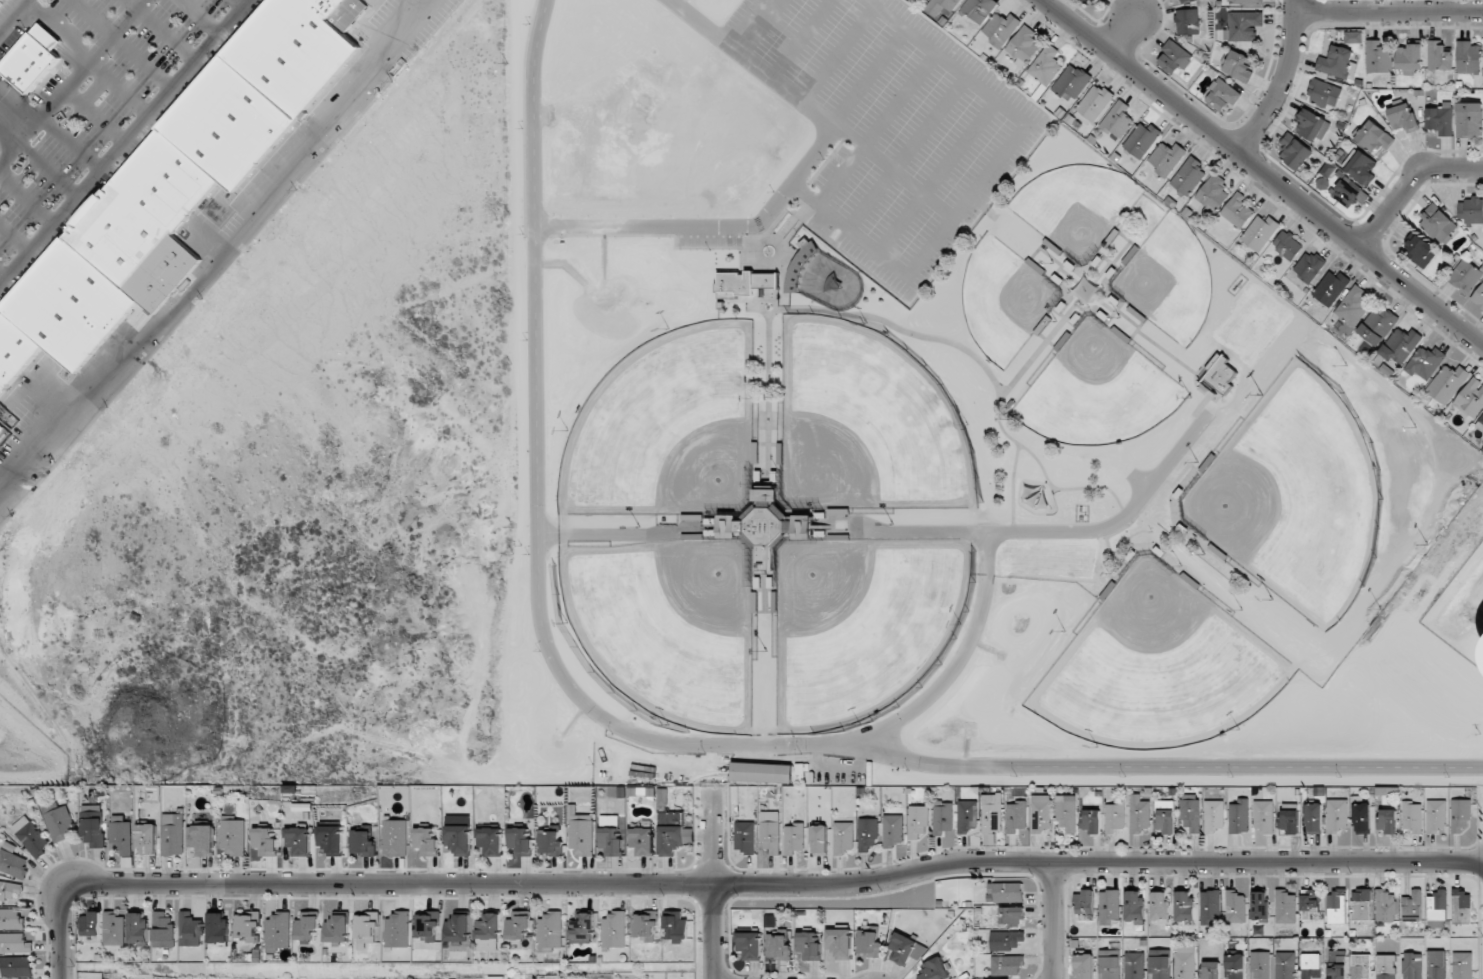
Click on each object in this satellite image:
building: (1179, 0)
building: (1090, 1)
building: (1245, 1)
building: (940, 6)
building: (978, 9)
road: (1389, 11)
road: (12, 14)
building: (1187, 21)
road: (754, 25)
building: (1242, 25)
building: (1000, 28)
road: (1125, 33)
building: (1353, 37)
building: (1022, 45)
building: (1438, 56)
building: (1174, 57)
building: (1377, 57)
building: (1409, 57)
building: (1468, 57)
building: (33, 58)
building: (1336, 62)
building: (1045, 65)
building: (1237, 66)
road: (1282, 81)
building: (1071, 82)
building: (1223, 93)
building: (1323, 93)
building: (1093, 102)
building: (1403, 117)
building: (1440, 117)
building: (1469, 119)
building: (1116, 120)
building: (1311, 125)
building: (1374, 137)
building: (1141, 139)
road: (126, 145)
building: (1295, 151)
building: (1166, 158)
building: (1361, 167)
road: (1264, 171)
building: (181, 174)
building: (1188, 176)
road: (983, 179)
road: (1408, 183)
road: (788, 188)
building: (1212, 194)
building: (1237, 210)
building: (1470, 210)
building: (1437, 223)
building: (1259, 232)
building: (1287, 245)
building: (1419, 249)
road: (218, 257)
building: (1310, 266)
building: (1465, 276)
building: (744, 283)
building: (1330, 287)
building: (1478, 297)
building: (1352, 306)
building: (1377, 324)
building: (1400, 345)
building: (1425, 362)
building: (1219, 375)
building: (1447, 383)
building: (1471, 398)
building: (1480, 424)
park: (932, 441)
building: (768, 526)
road: (669, 743)
building: (762, 772)
building: (662, 796)
building: (1190, 812)
building: (992, 813)
building: (1040, 813)
building: (1066, 813)
building: (1139, 814)
building: (1337, 815)
building: (1412, 815)
building: (1460, 815)
building: (967, 816)
building: (1115, 816)
building: (1214, 816)
building: (1238, 816)
building: (1264, 816)
building: (1436, 816)
building: (943, 817)
building: (1017, 817)
building: (1164, 817)
building: (1314, 817)
building: (1362, 817)
building: (1091, 820)
building: (1388, 820)
building: (59, 821)
building: (918, 821)
building: (1289, 821)
building: (93, 829)
building: (892, 830)
building: (771, 832)
building: (580, 833)
building: (867, 833)
building: (121, 834)
building: (173, 834)
building: (31, 836)
building: (233, 836)
building: (395, 836)
building: (745, 837)
building: (844, 837)
building: (794, 838)
building: (148, 839)
building: (201, 839)
building: (331, 839)
building: (458, 839)
building: (673, 839)
building: (819, 839)
building: (642, 840)
building: (265, 841)
building: (298, 841)
building: (426, 841)
building: (490, 841)
building: (520, 841)
building: (362, 842)
building: (550, 842)
building: (13, 863)
road: (715, 881)
building: (9, 890)
road: (774, 890)
building: (1005, 892)
building: (1084, 902)
building: (1309, 902)
building: (1361, 904)
building: (1109, 906)
building: (1159, 906)
building: (1184, 906)
building: (1259, 906)
building: (1285, 906)
building: (1386, 906)
building: (1412, 906)
building: (1461, 906)
building: (1134, 907)
building: (1209, 907)
building: (1235, 907)
building: (1336, 907)
building: (1437, 909)
building: (1011, 916)
building: (11, 919)
road: (1049, 921)
building: (92, 924)
building: (246, 924)
building: (518, 925)
building: (307, 926)
building: (428, 926)
building: (645, 926)
building: (676, 926)
building: (138, 927)
building: (218, 927)
building: (582, 927)
building: (114, 928)
building: (338, 928)
building: (458, 928)
building: (367, 929)
building: (615, 929)
building: (164, 930)
building: (190, 930)
building: (278, 930)
building: (398, 930)
road: (61, 931)
building: (550, 931)
building: (489, 932)
building: (1006, 940)
building: (839, 942)
building: (869, 942)
building: (14, 943)
building: (778, 944)
building: (749, 945)
building: (809, 945)
building: (906, 949)
building: (1110, 962)
building: (1184, 962)
building: (1159, 964)
building: (1007, 965)
building: (1134, 965)
building: (1261, 965)
building: (1285, 965)
building: (1436, 965)
building: (1462, 965)
building: (15, 966)
building: (1084, 966)
building: (1235, 966)
building: (1310, 966)
building: (1360, 966)
building: (1412, 966)
building: (1386, 967)
building: (934, 969)
building: (1338, 969)
building: (1210, 970)

